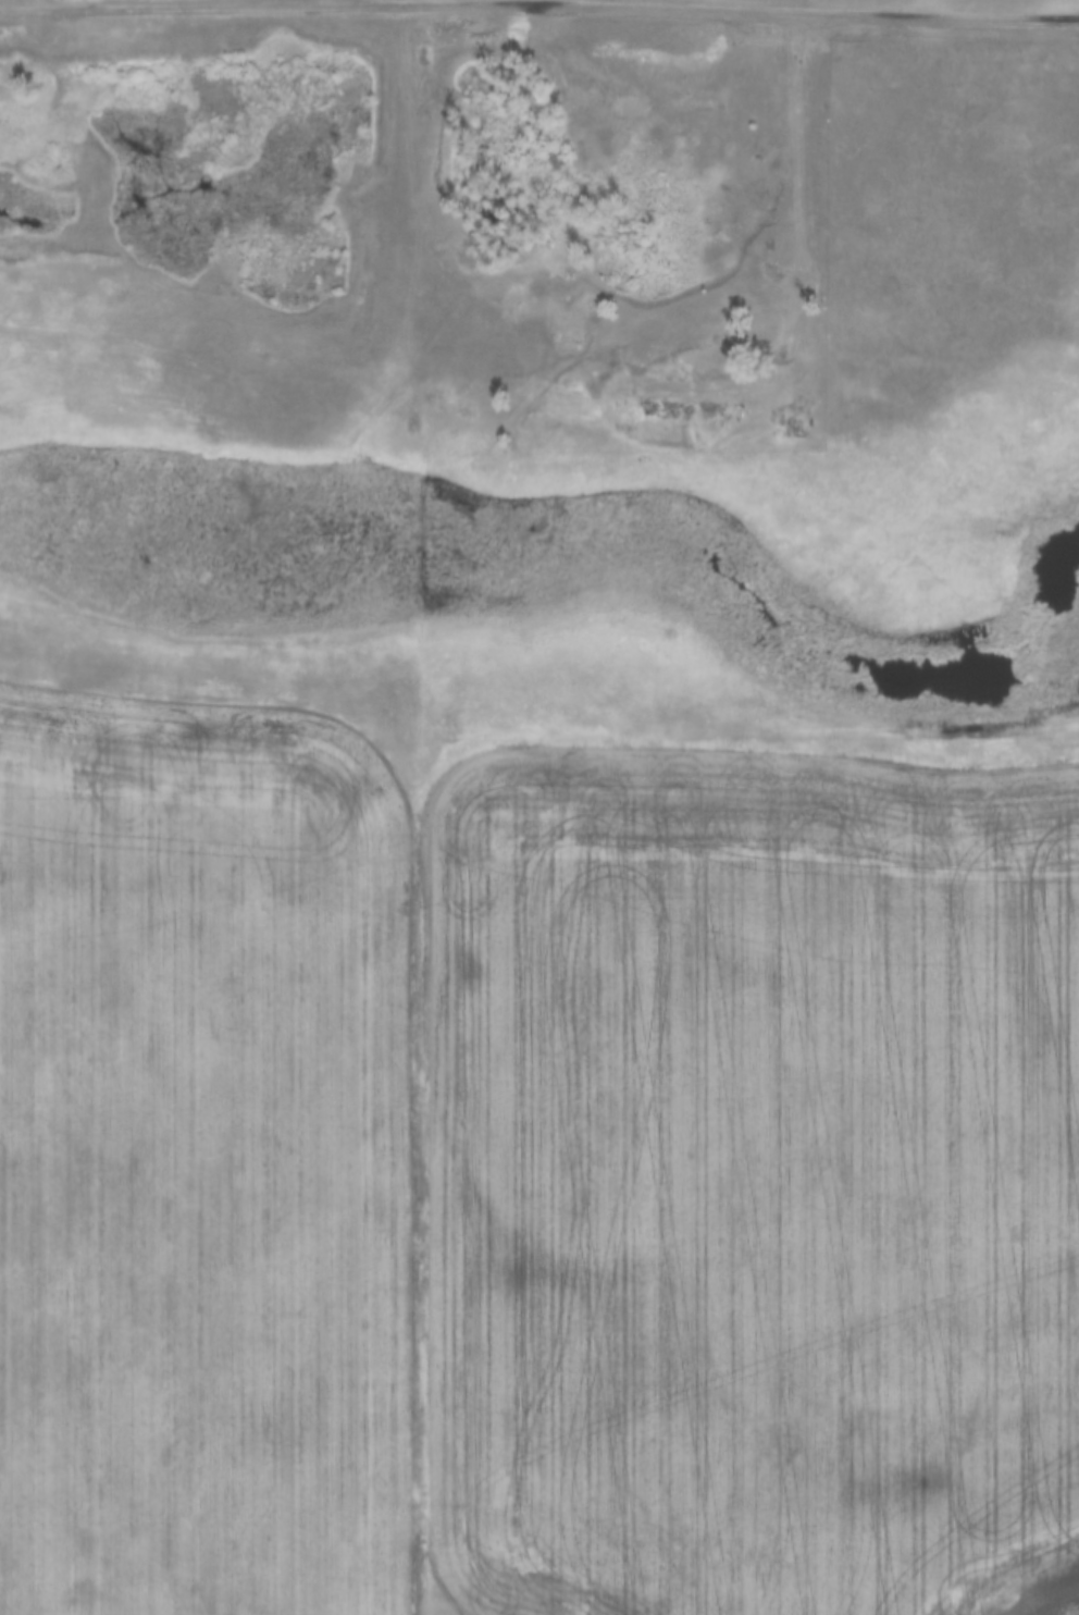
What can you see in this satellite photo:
road: (539, 4)

